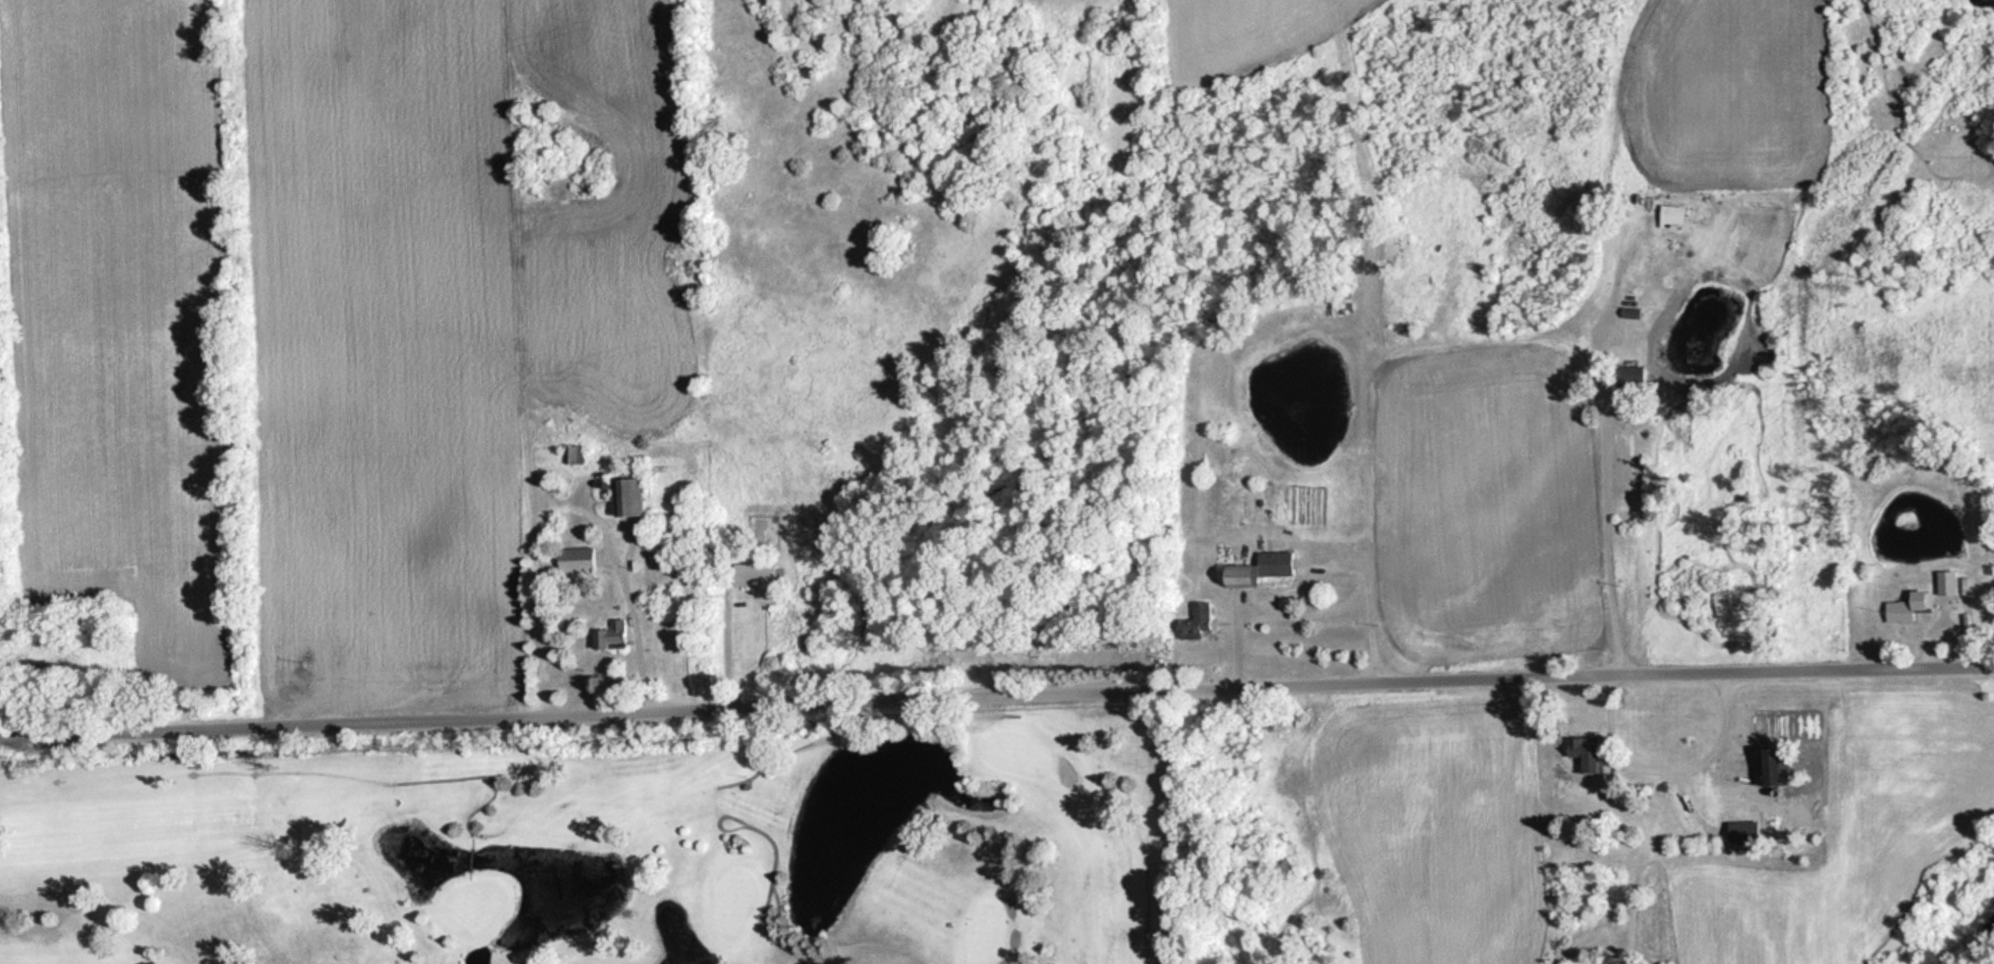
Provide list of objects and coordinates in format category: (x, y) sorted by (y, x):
building: (1676, 215)
building: (576, 454)
building: (638, 497)
building: (580, 560)
building: (1262, 570)
building: (761, 575)
building: (1951, 582)
building: (1912, 606)
building: (1206, 612)
building: (619, 635)
road: (996, 691)
building: (1589, 755)
building: (1784, 767)
building: (1748, 832)
park: (617, 847)

